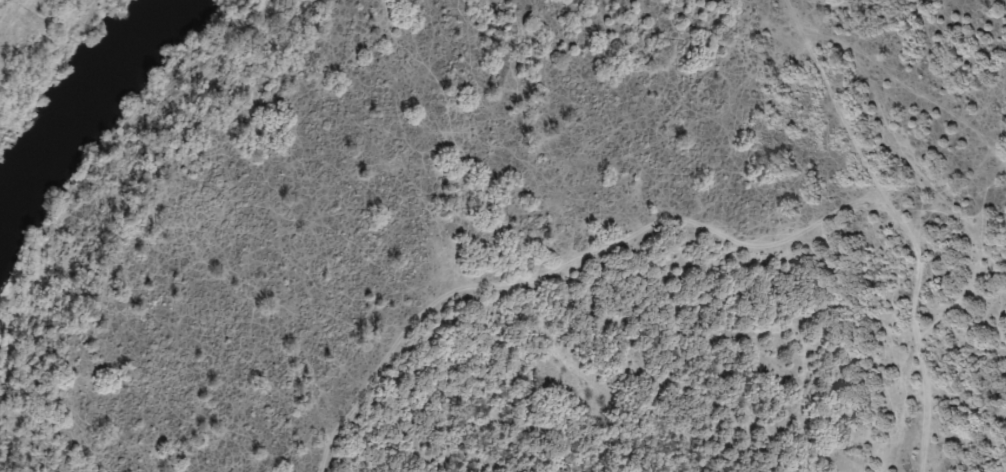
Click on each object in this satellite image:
road: (917, 97)
road: (939, 359)

